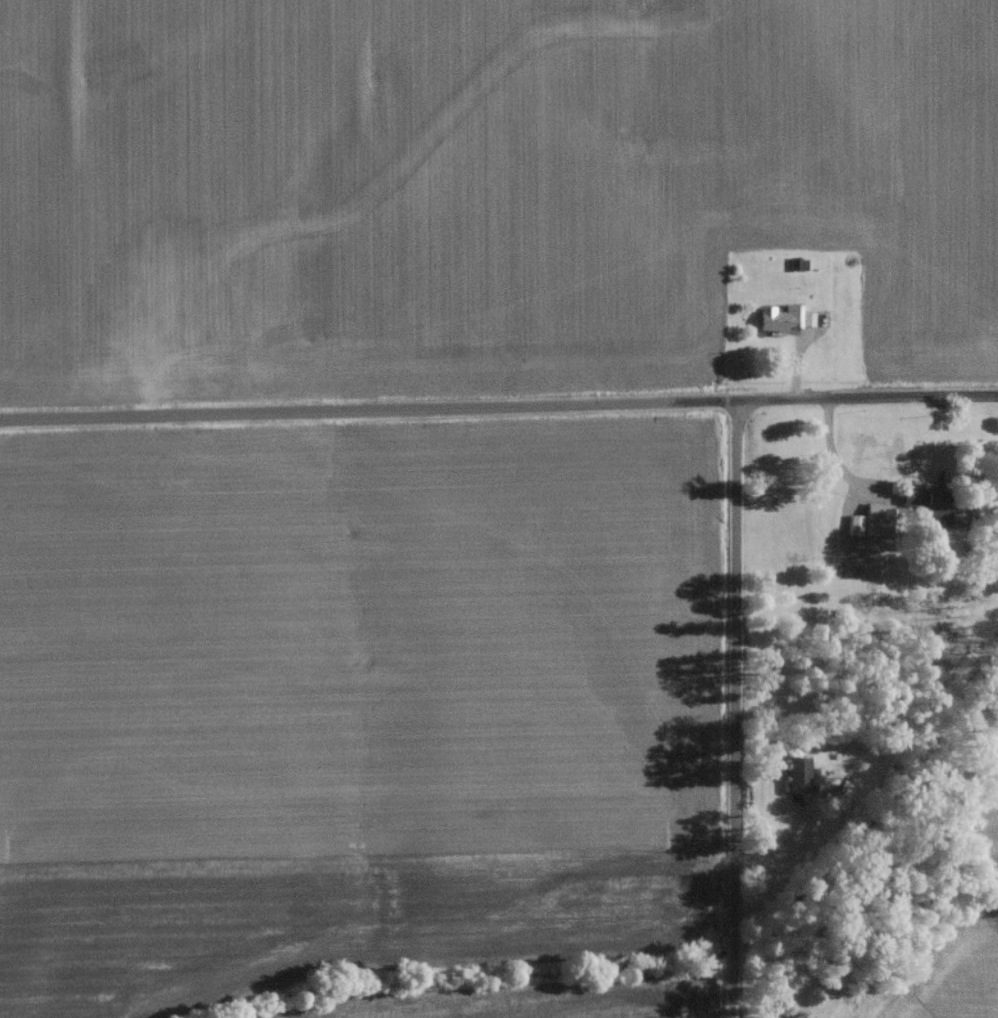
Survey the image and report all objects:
building: (776, 322)
road: (499, 406)
road: (839, 456)
building: (924, 509)
road: (735, 709)
building: (792, 778)

